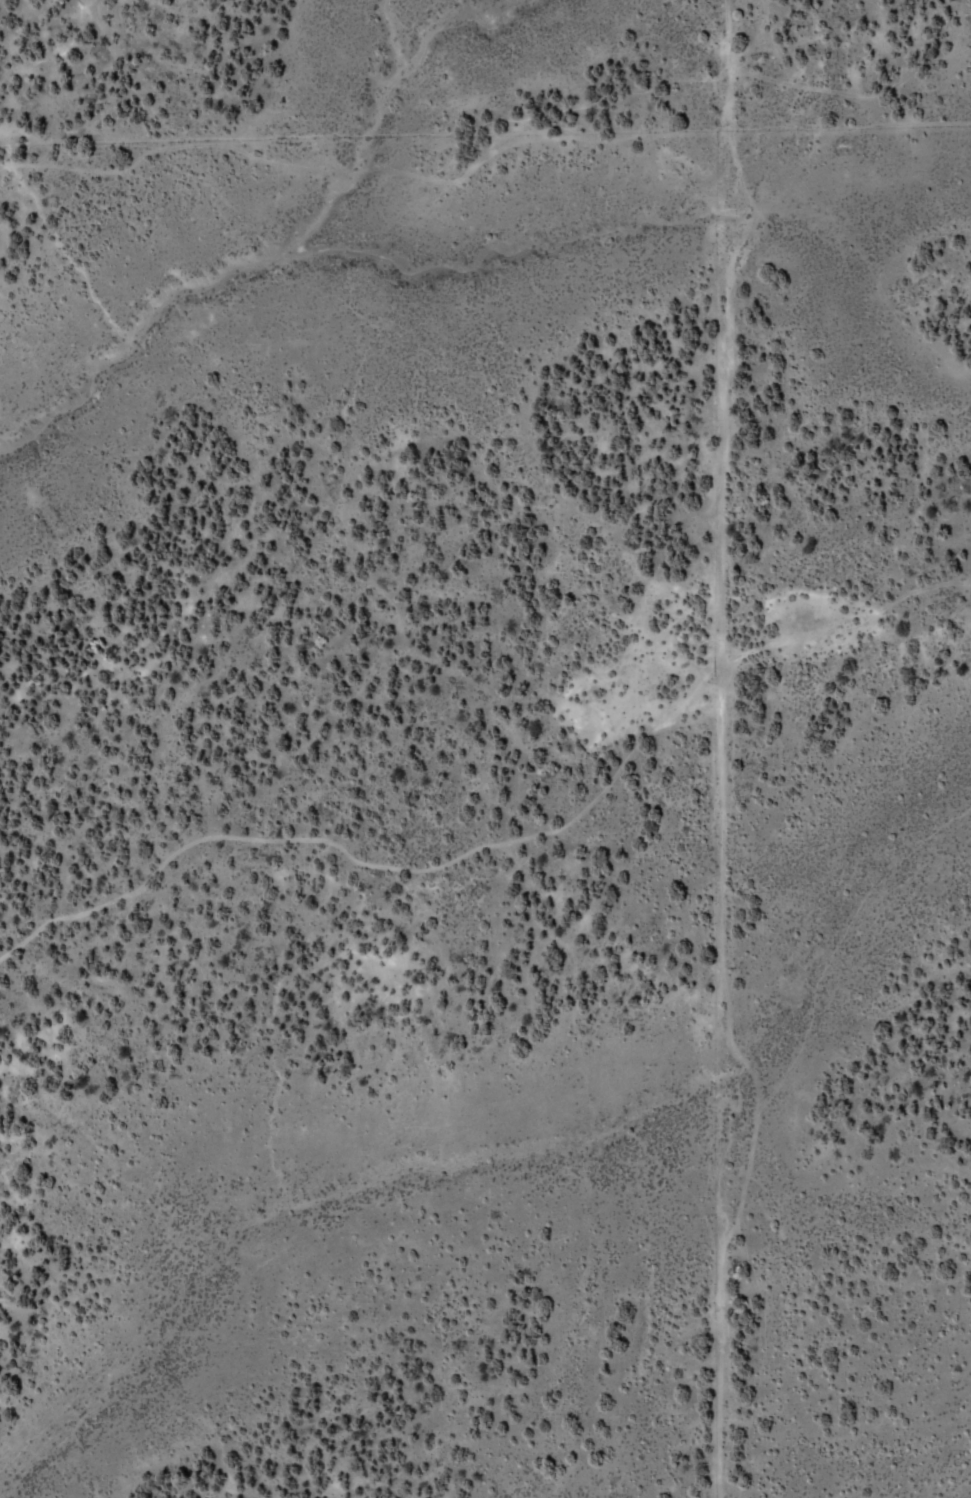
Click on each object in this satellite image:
road: (719, 1372)

